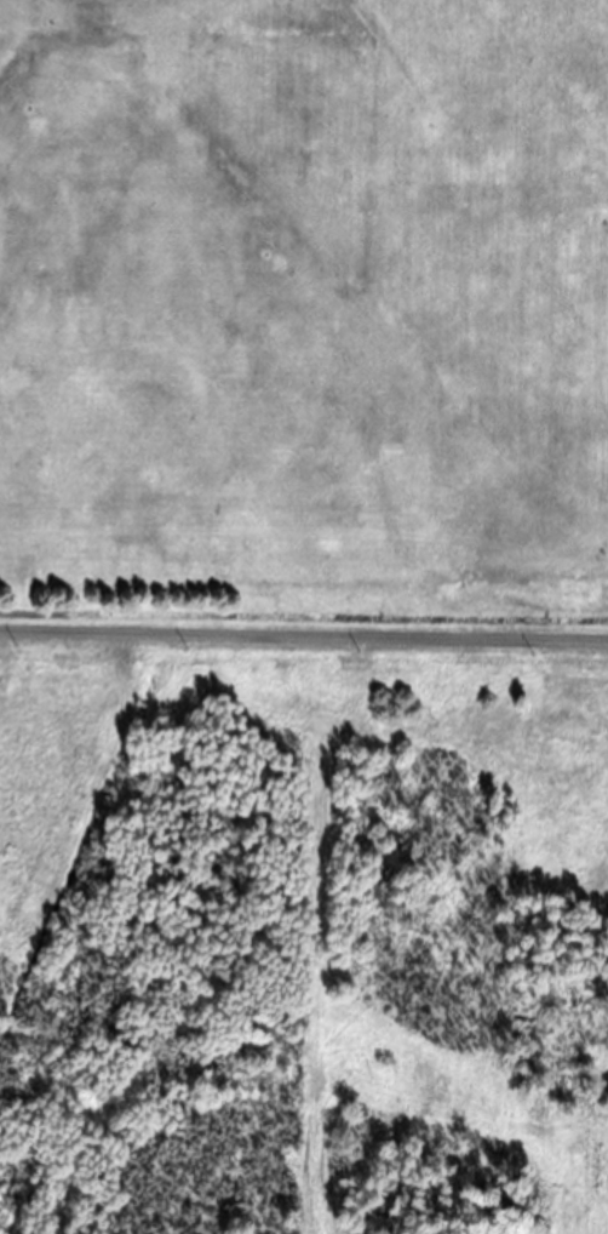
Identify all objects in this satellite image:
road: (218, 35)
landfill: (304, 617)
road: (304, 625)

